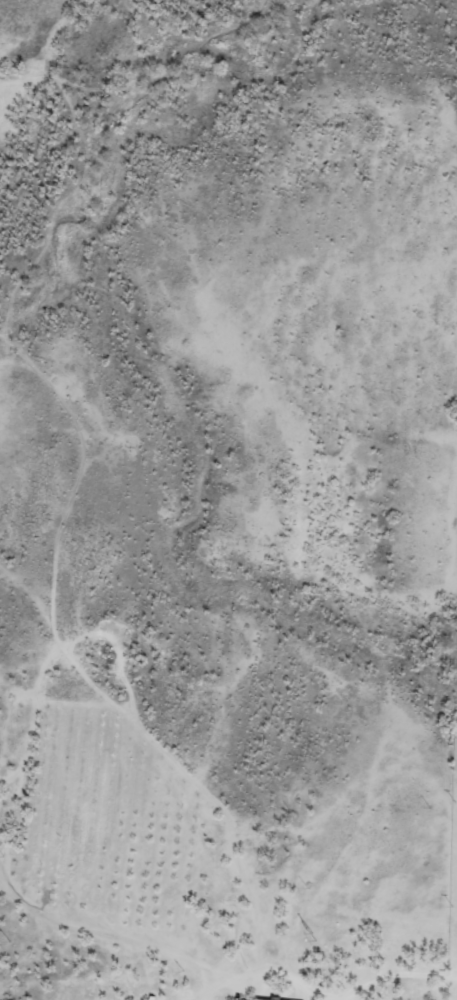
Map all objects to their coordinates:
road: (150, 810)
power tower: (316, 937)
road: (367, 983)

